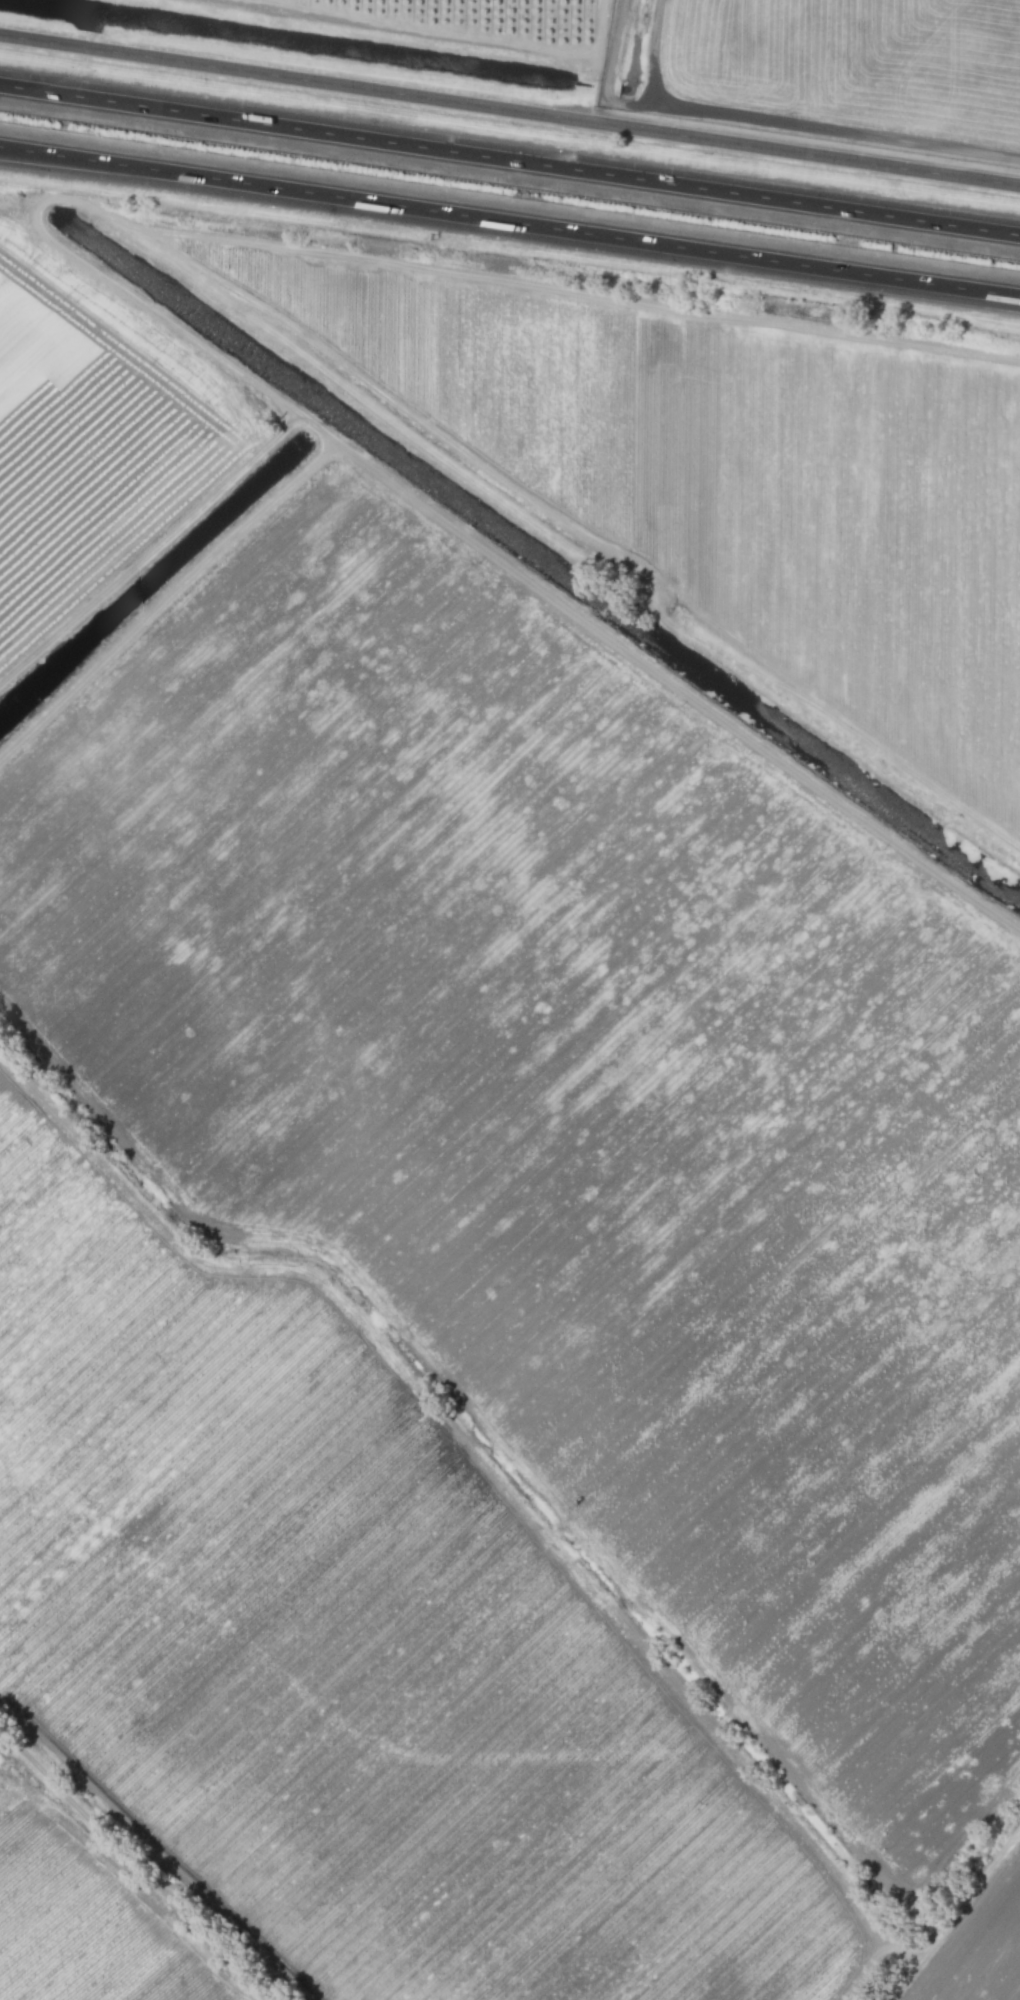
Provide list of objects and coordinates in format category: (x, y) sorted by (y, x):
airport: (827, 69)
road: (509, 110)
road: (510, 158)
road: (509, 222)
crop: (723, 486)
crop: (352, 1643)
crop: (983, 1950)

